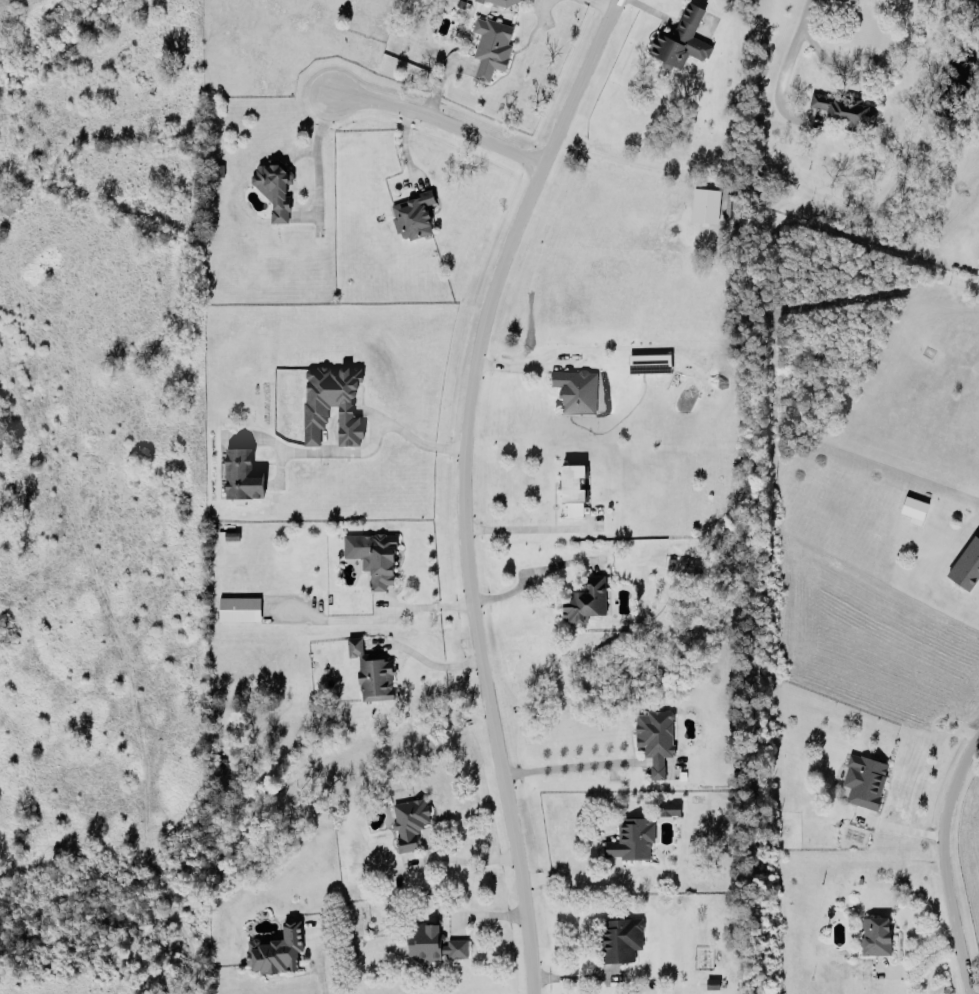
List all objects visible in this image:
building: (506, 1)
road: (604, 3)
building: (680, 37)
building: (490, 43)
road: (817, 52)
road: (785, 60)
building: (843, 108)
road: (440, 115)
building: (273, 186)
building: (704, 203)
building: (412, 214)
building: (649, 361)
building: (575, 388)
building: (331, 401)
road: (355, 449)
building: (240, 473)
building: (572, 477)
road: (463, 485)
building: (913, 507)
road: (529, 524)
building: (372, 554)
building: (967, 560)
road: (530, 572)
building: (585, 599)
building: (238, 606)
road: (375, 616)
road: (429, 659)
building: (371, 670)
building: (655, 735)
road: (569, 762)
building: (863, 778)
building: (668, 806)
building: (408, 820)
building: (631, 838)
road: (468, 858)
road: (942, 859)
road: (566, 875)
building: (876, 933)
building: (621, 937)
building: (424, 940)
building: (455, 945)
building: (277, 948)
road: (577, 976)
road: (975, 992)

